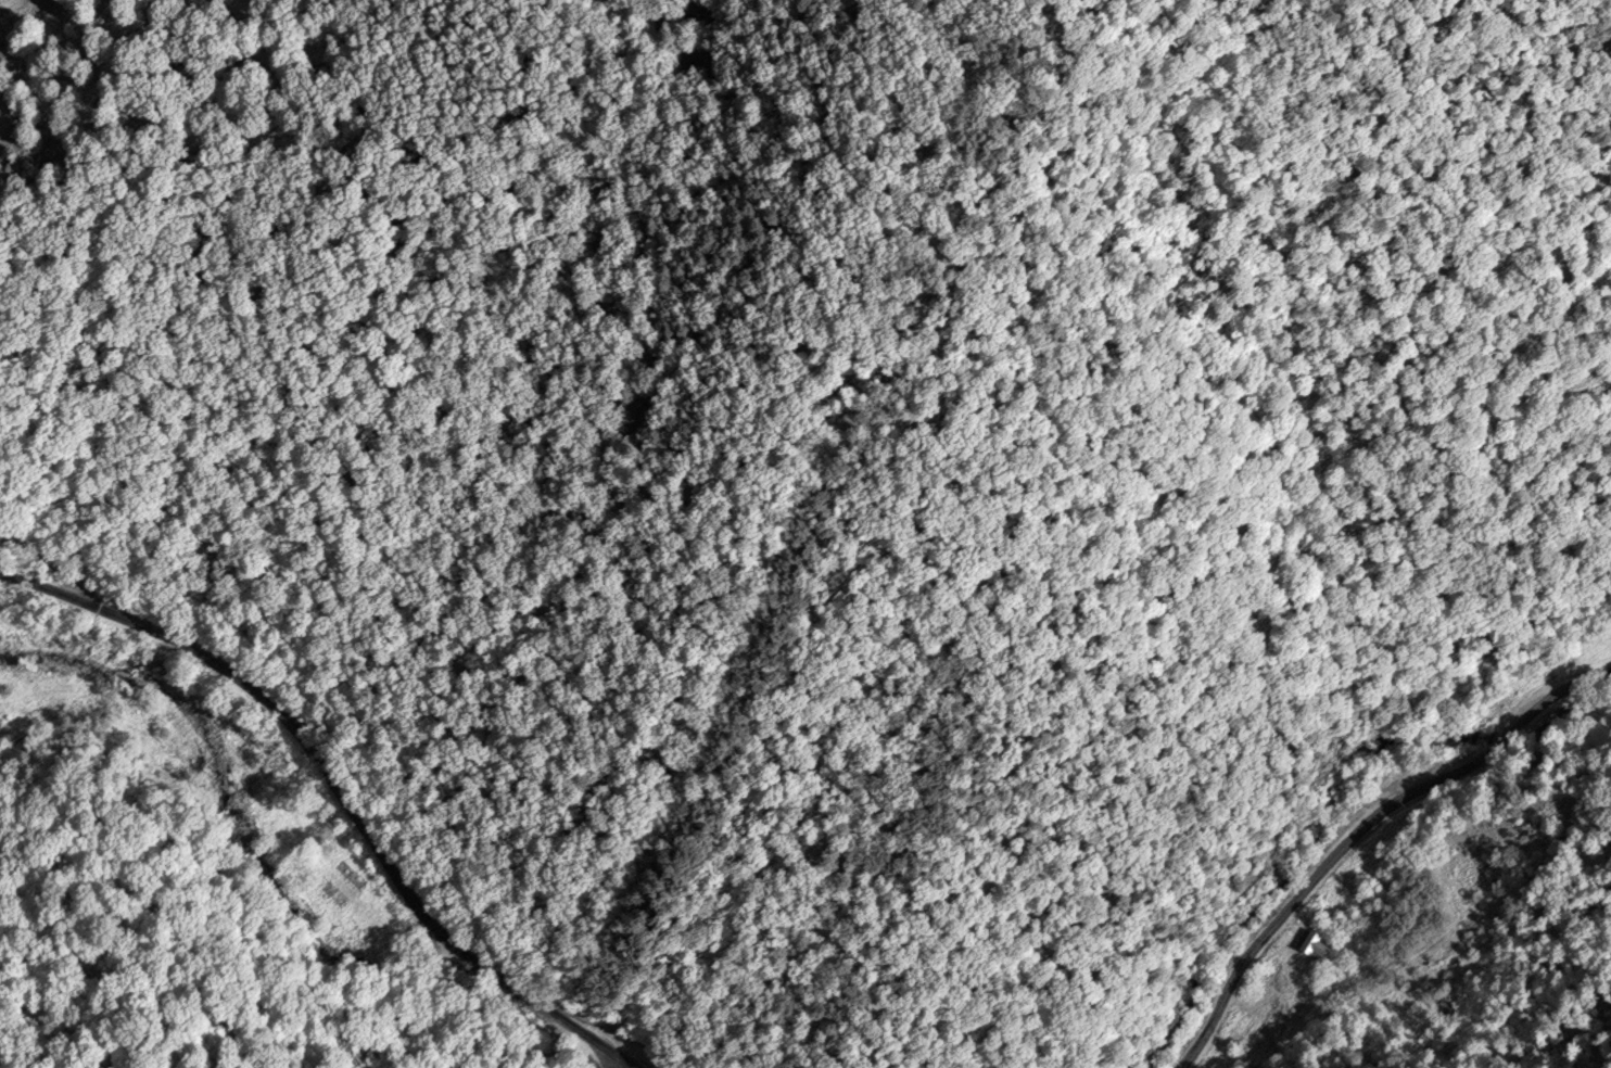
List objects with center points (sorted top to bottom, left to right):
road: (52, 562)
road: (47, 592)
road: (1358, 829)
road: (364, 832)
building: (332, 895)
building: (1314, 943)
road: (1258, 995)

